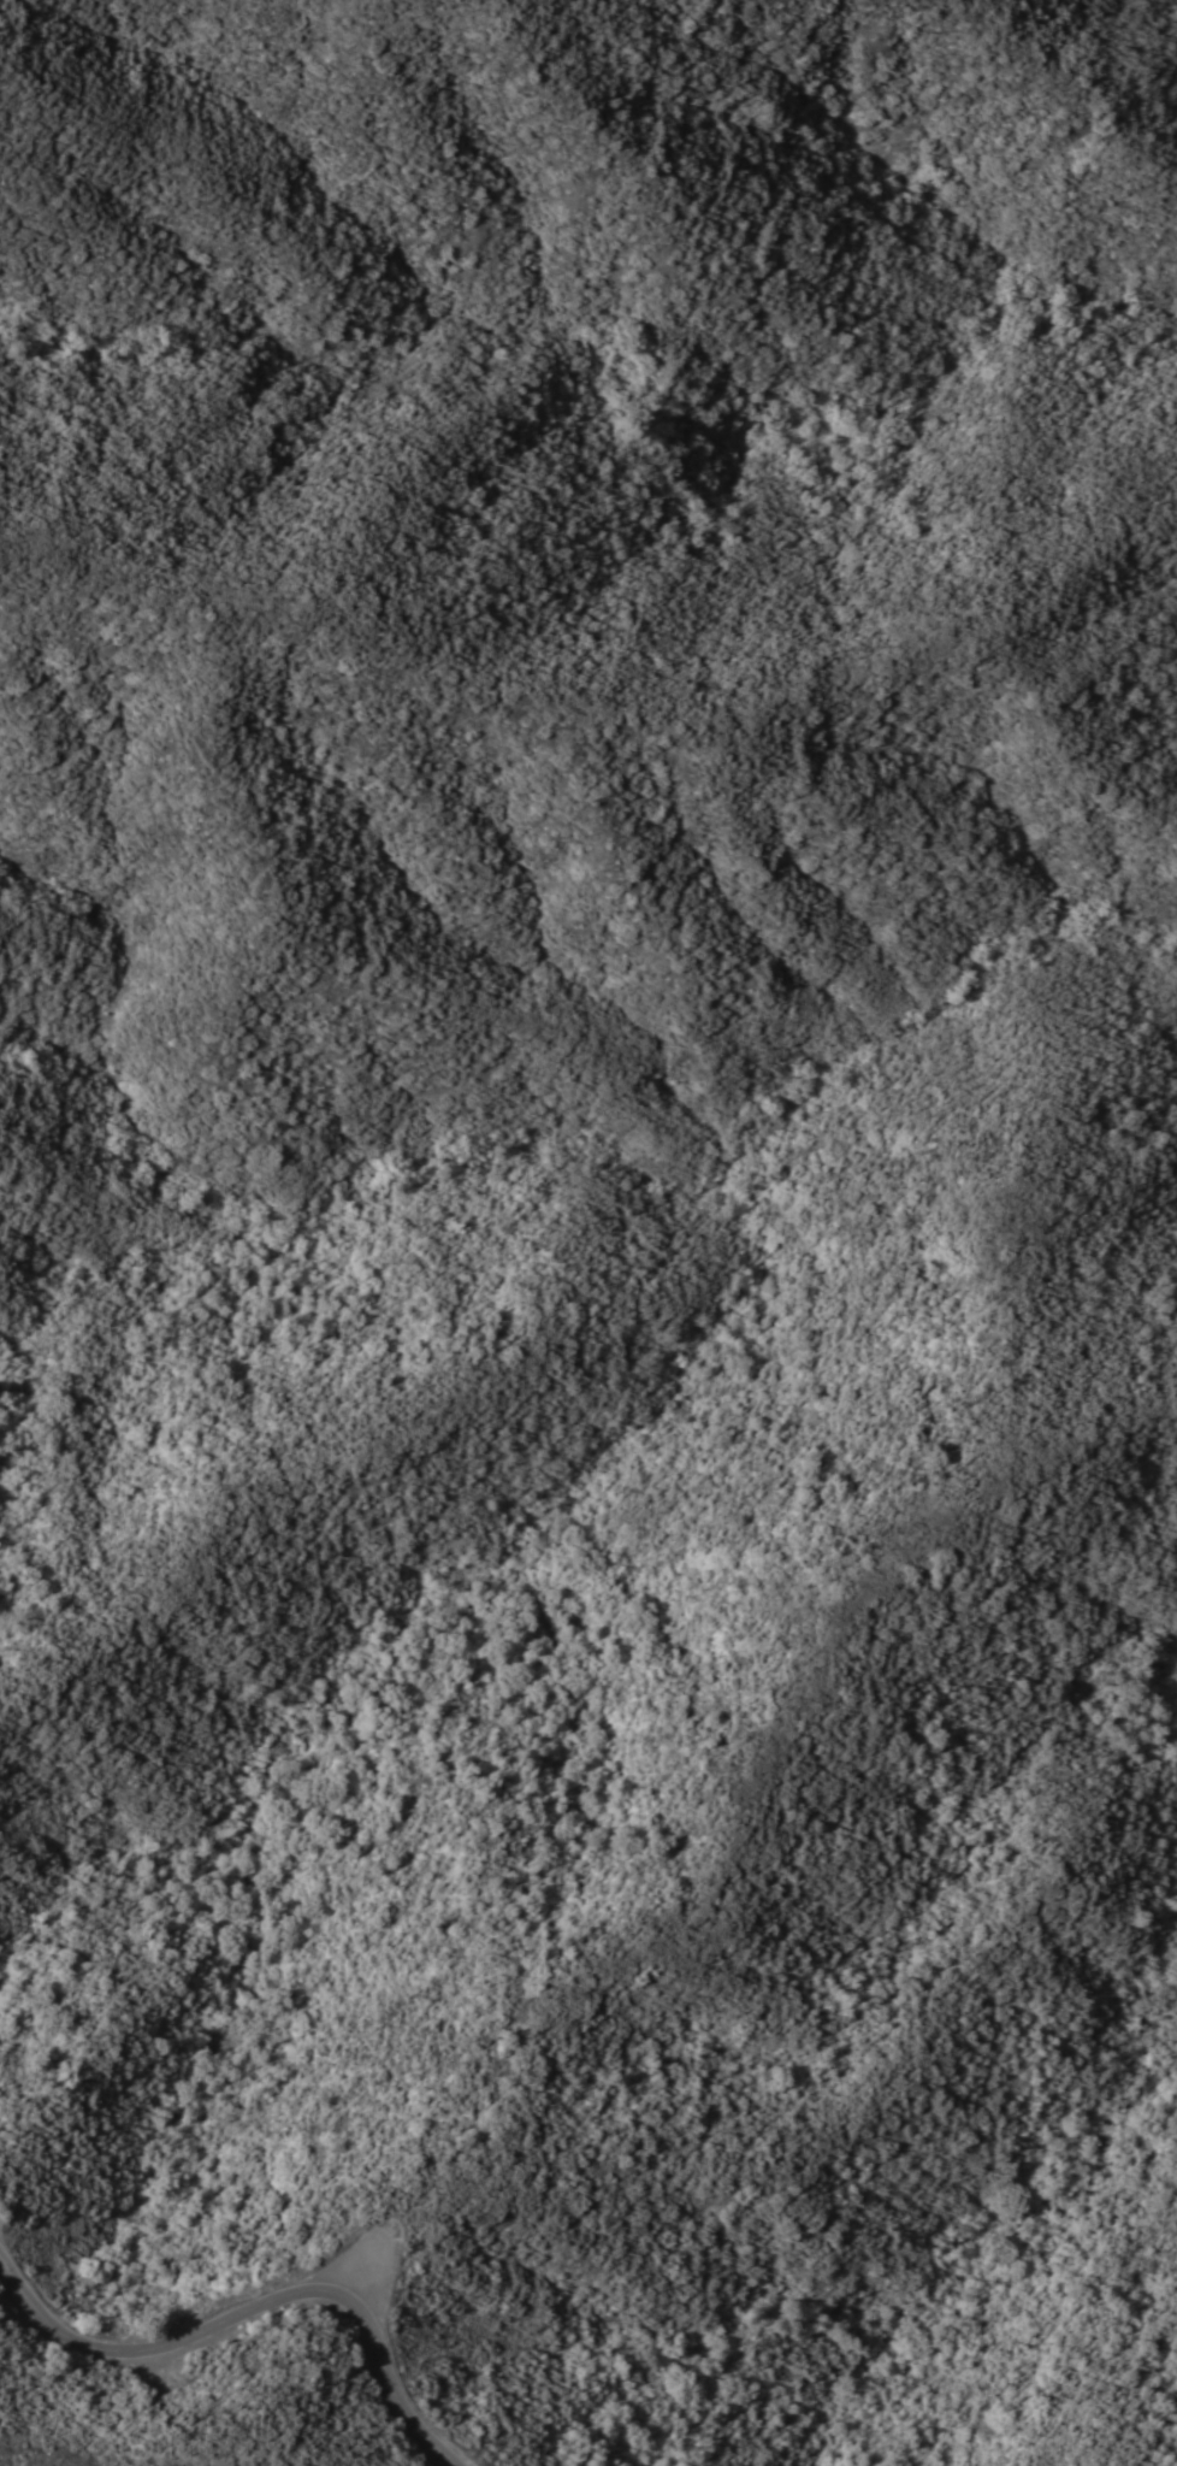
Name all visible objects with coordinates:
road: (255, 2306)

